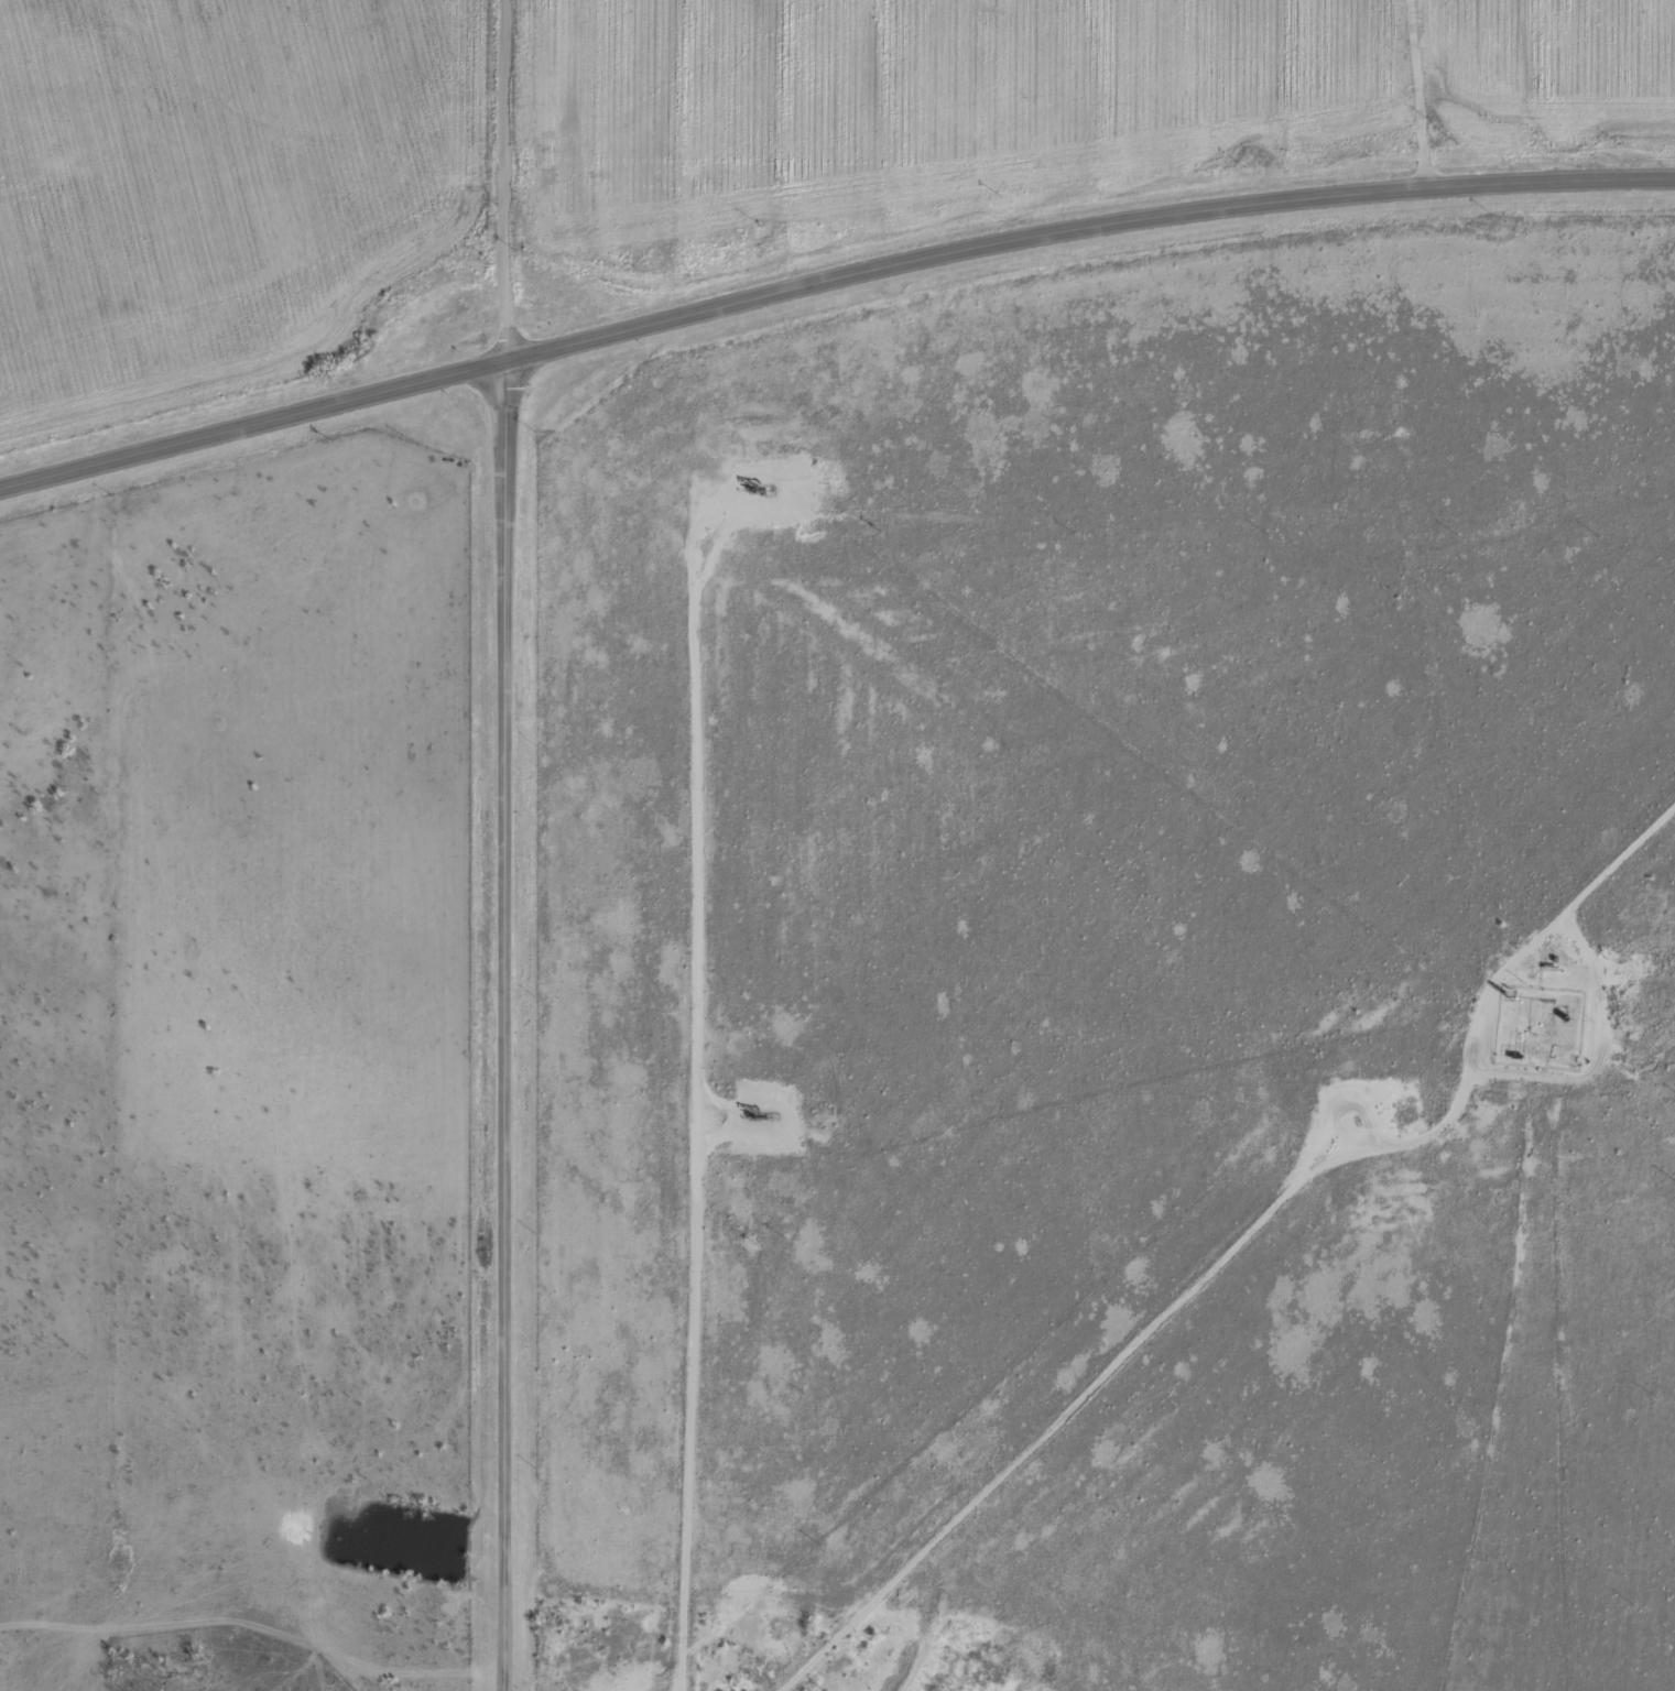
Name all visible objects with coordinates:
road: (503, 182)
road: (828, 282)
petroleum well: (762, 487)
road: (1451, 755)
road: (503, 1027)
petroleum well: (763, 1114)
road: (1223, 1251)

